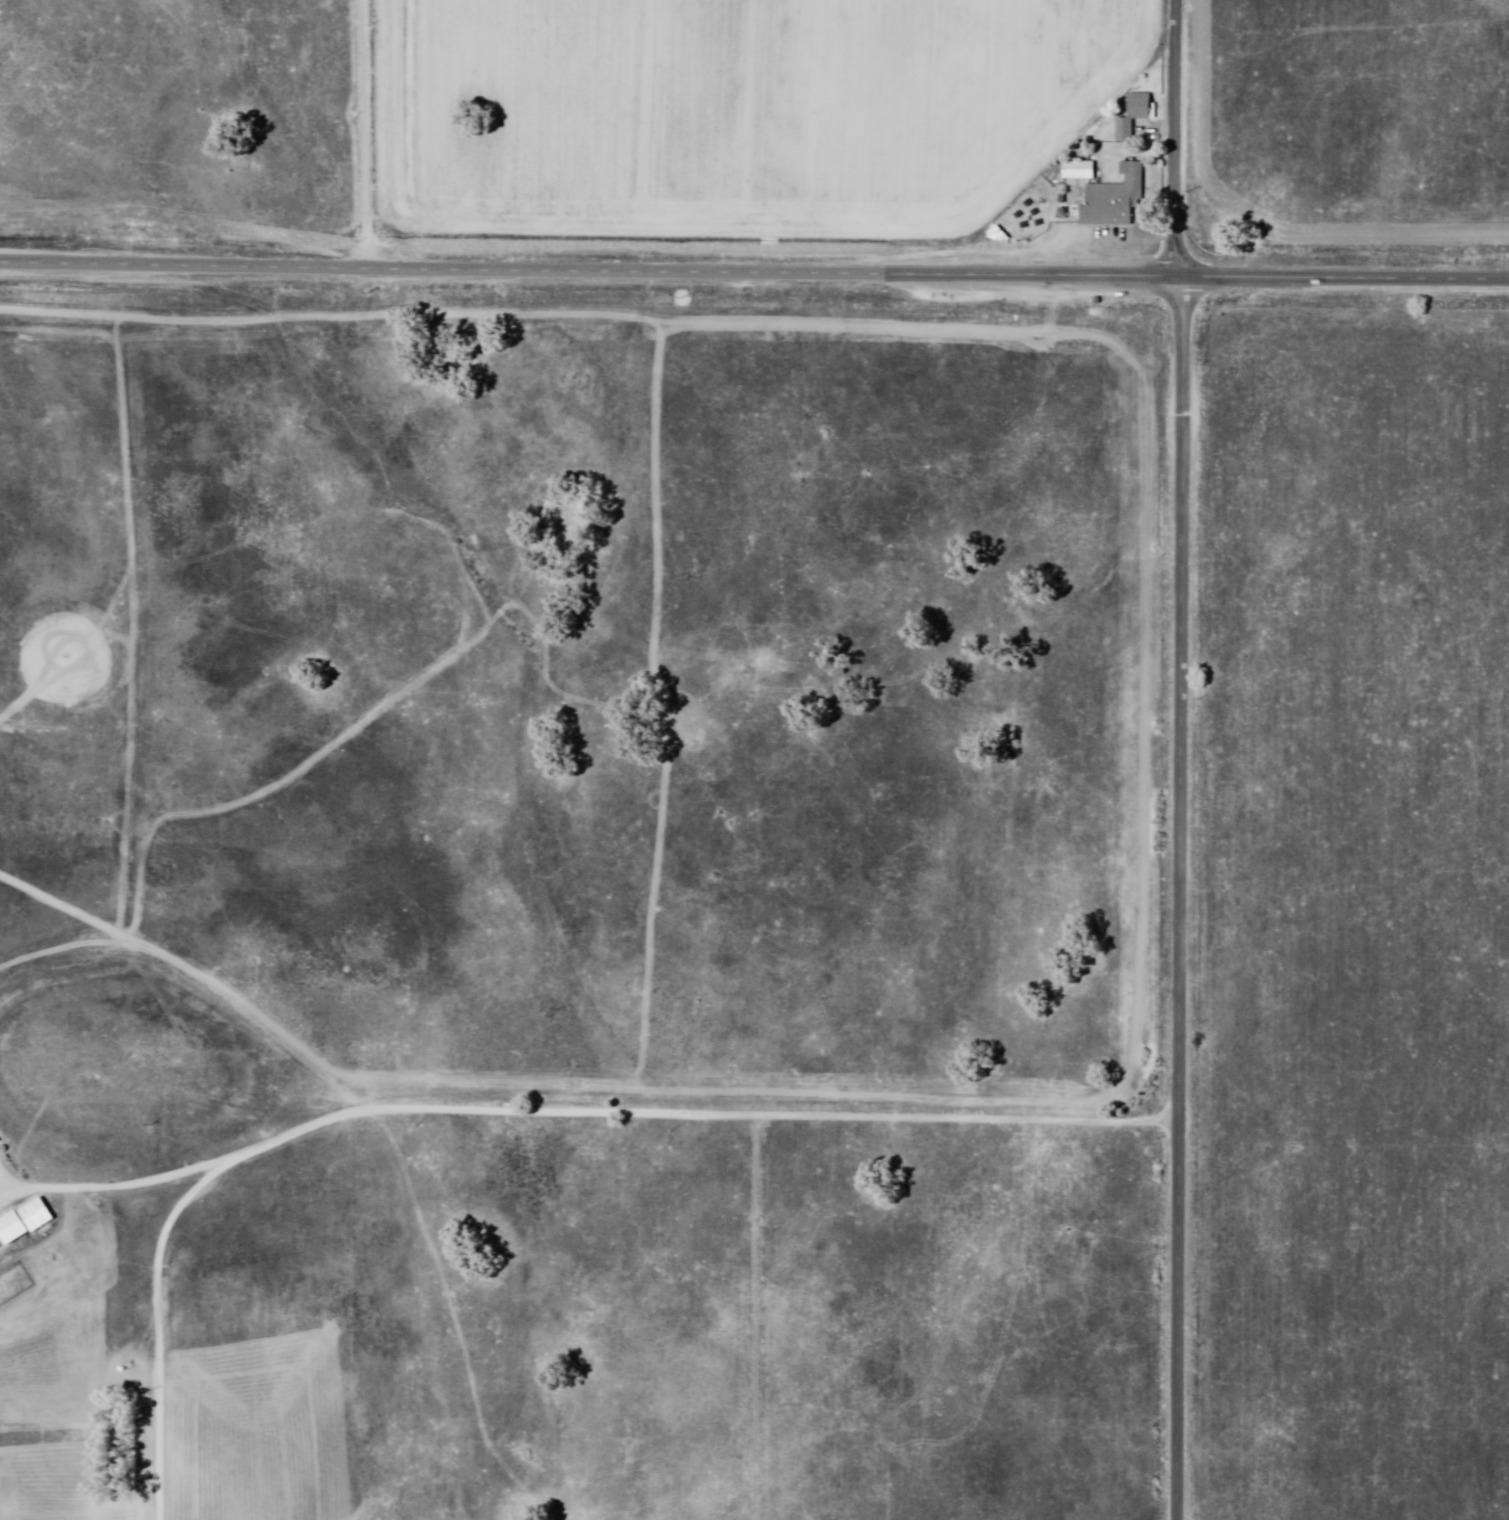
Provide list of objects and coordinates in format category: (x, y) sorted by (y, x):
building: (1125, 128)
road: (366, 133)
road: (1174, 139)
building: (1074, 168)
building: (1111, 199)
road: (589, 269)
road: (1344, 280)
road: (1176, 899)
road: (582, 1104)
building: (33, 1214)
building: (7, 1229)
road: (756, 1314)

